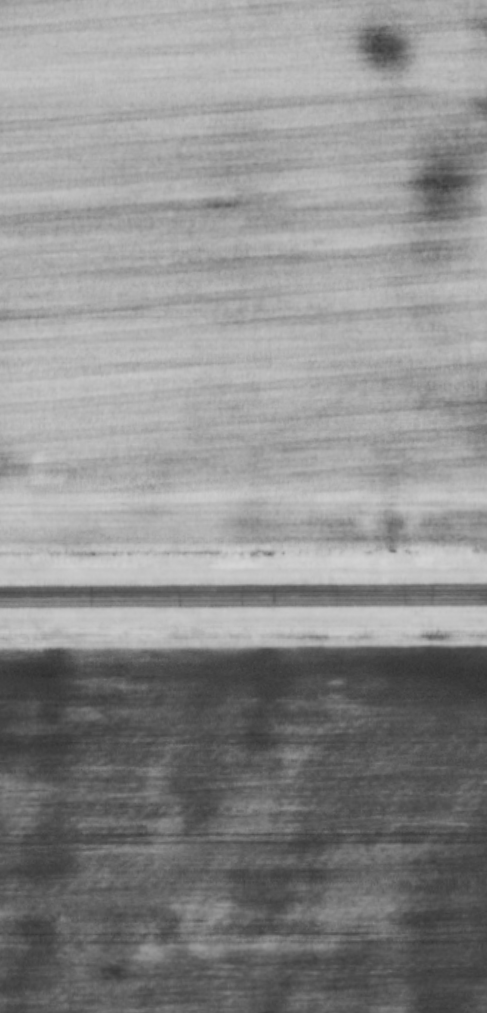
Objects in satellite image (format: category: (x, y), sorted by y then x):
road: (243, 601)

